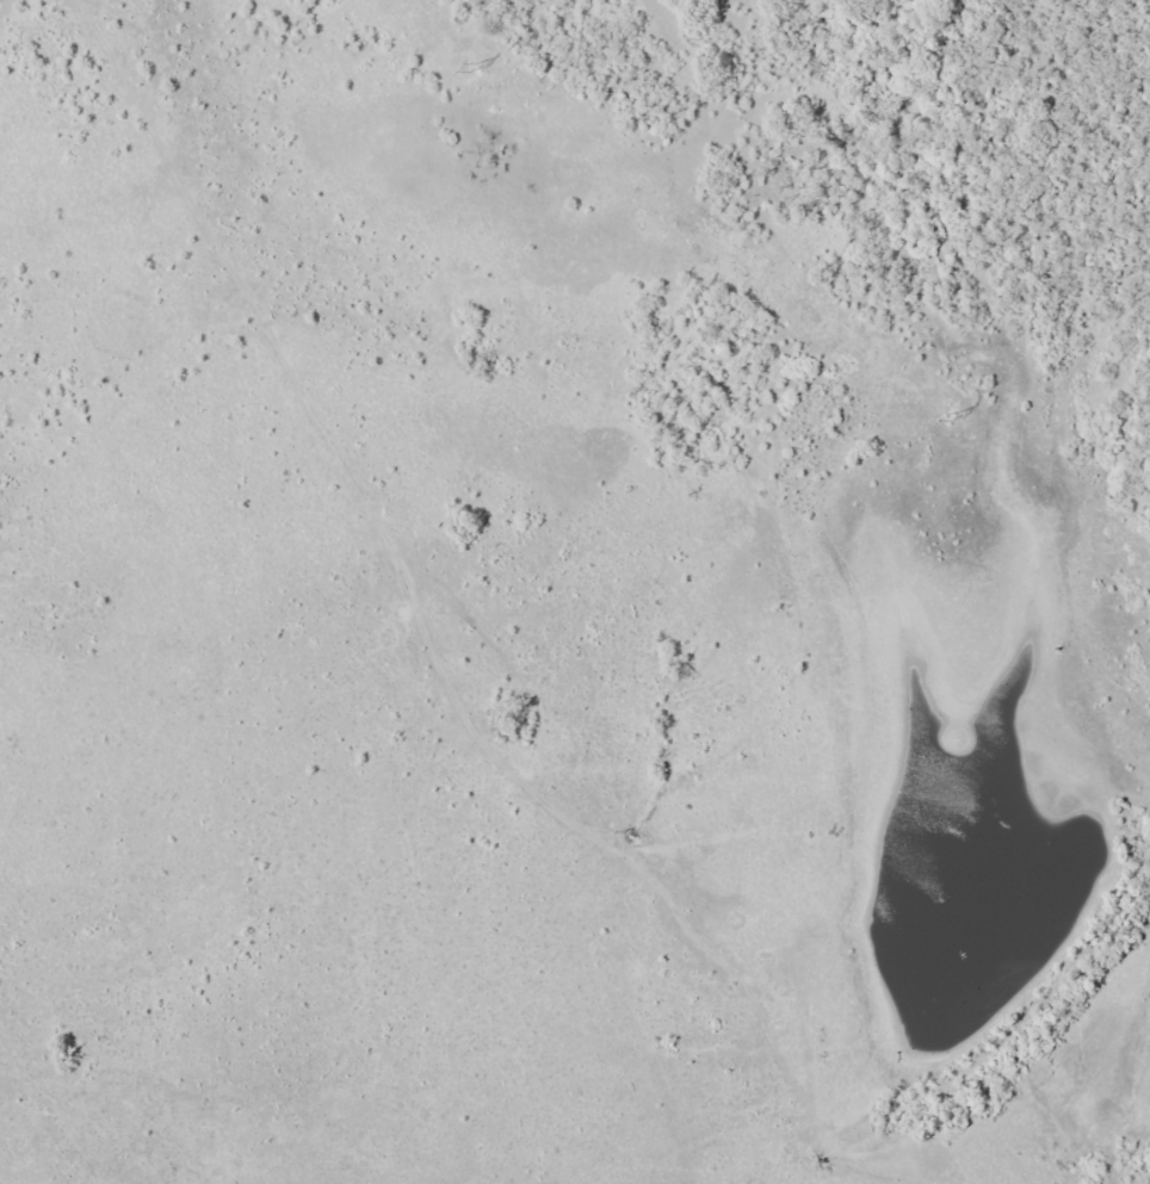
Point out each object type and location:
power tower: (486, 69)
power tower: (965, 420)

